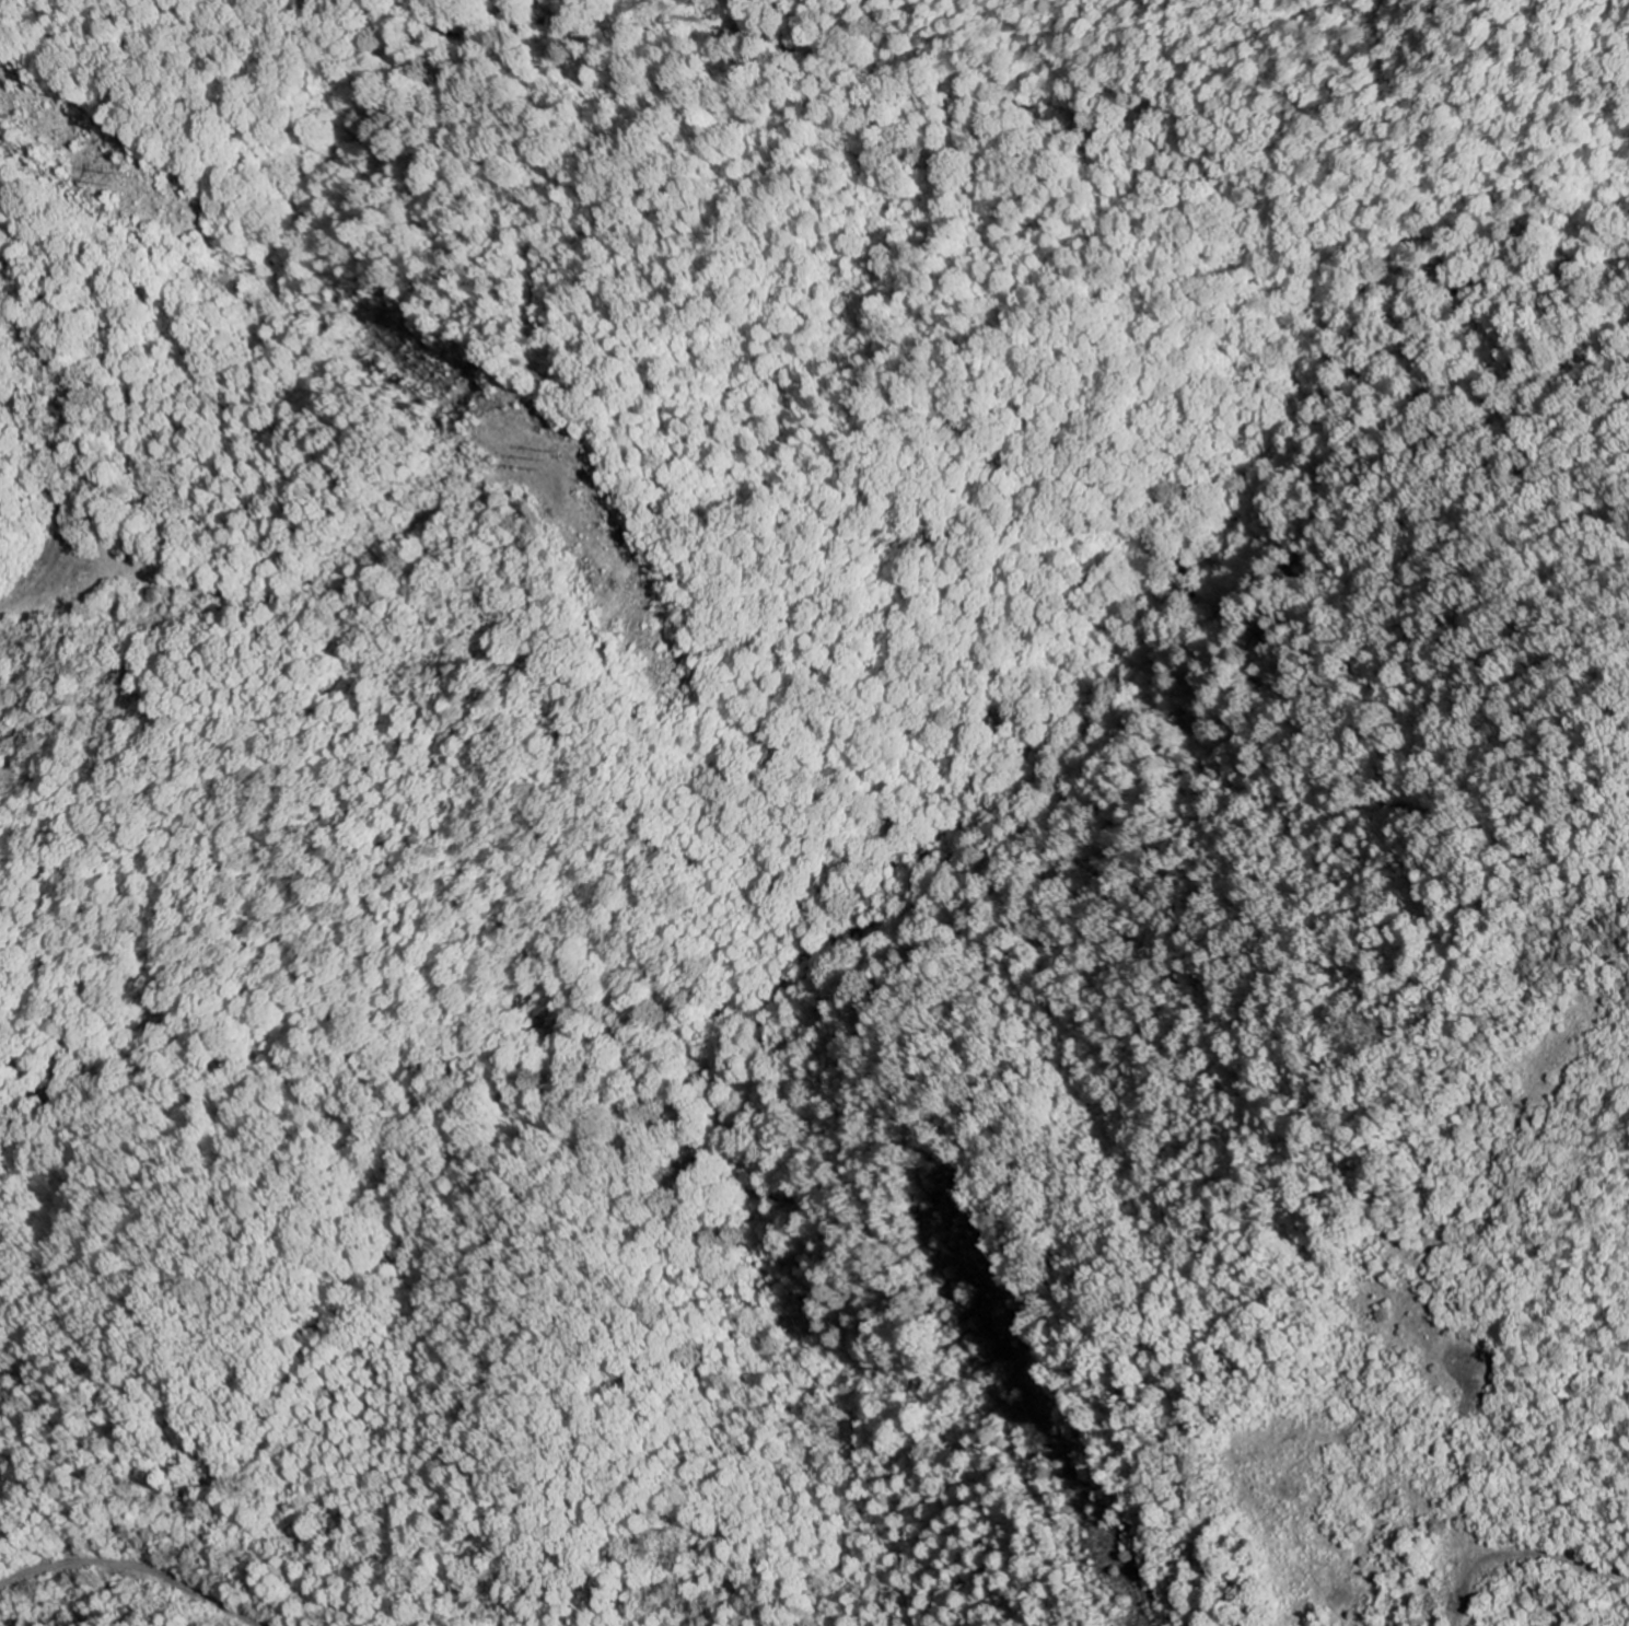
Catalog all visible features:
road: (131, 1517)

